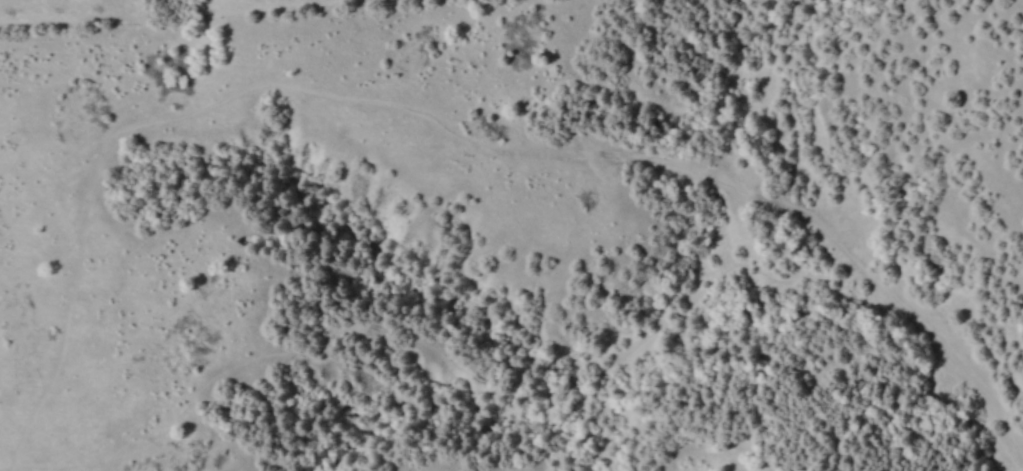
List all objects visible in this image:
road: (265, 85)
road: (785, 206)
crop: (516, 238)
road: (679, 309)
road: (924, 328)
road: (321, 334)

